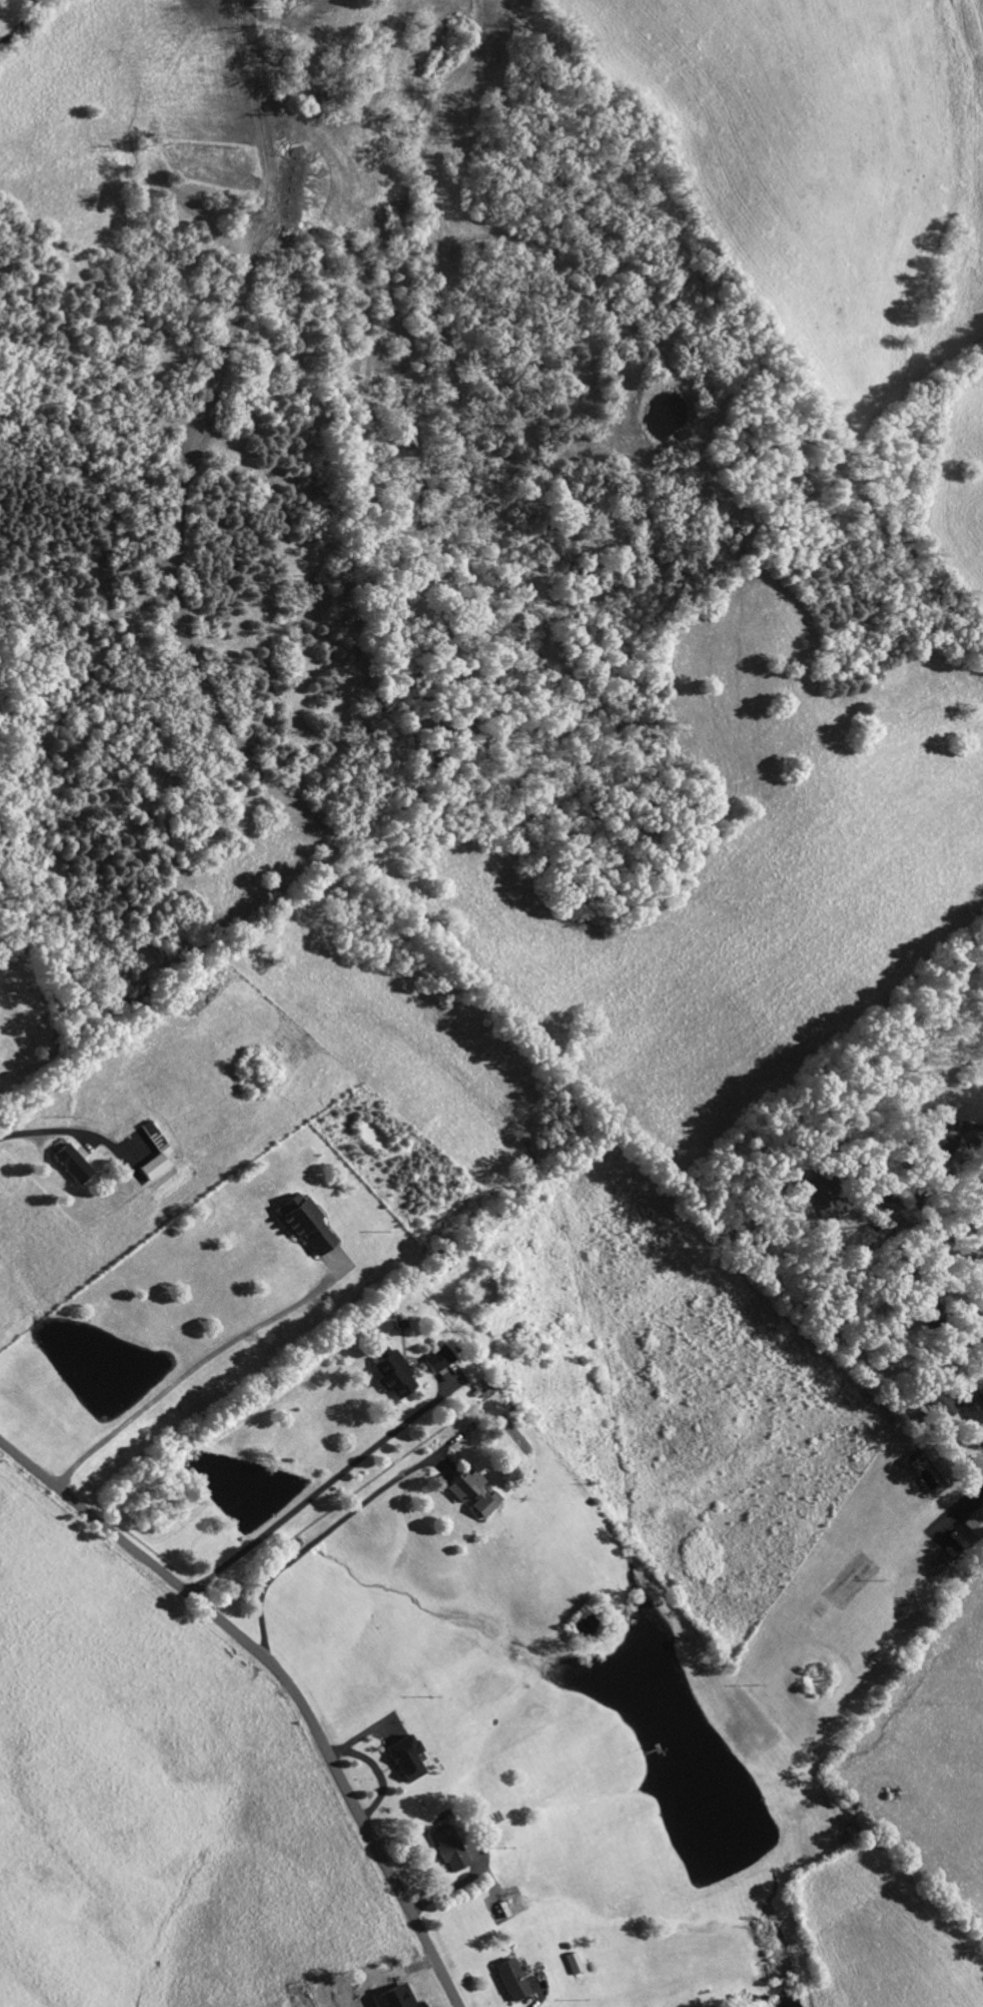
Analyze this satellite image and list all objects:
road: (68, 1132)
building: (153, 1138)
building: (935, 1143)
building: (71, 1165)
building: (153, 1168)
building: (821, 1199)
building: (305, 1224)
road: (963, 1251)
building: (438, 1361)
road: (194, 1370)
building: (394, 1374)
building: (944, 1408)
building: (913, 1460)
road: (324, 1489)
building: (472, 1494)
road: (959, 1512)
building: (975, 1524)
road: (334, 1528)
road: (282, 1681)
building: (403, 1758)
building: (446, 1849)
building: (509, 1980)
road: (539, 1994)
building: (394, 1998)

